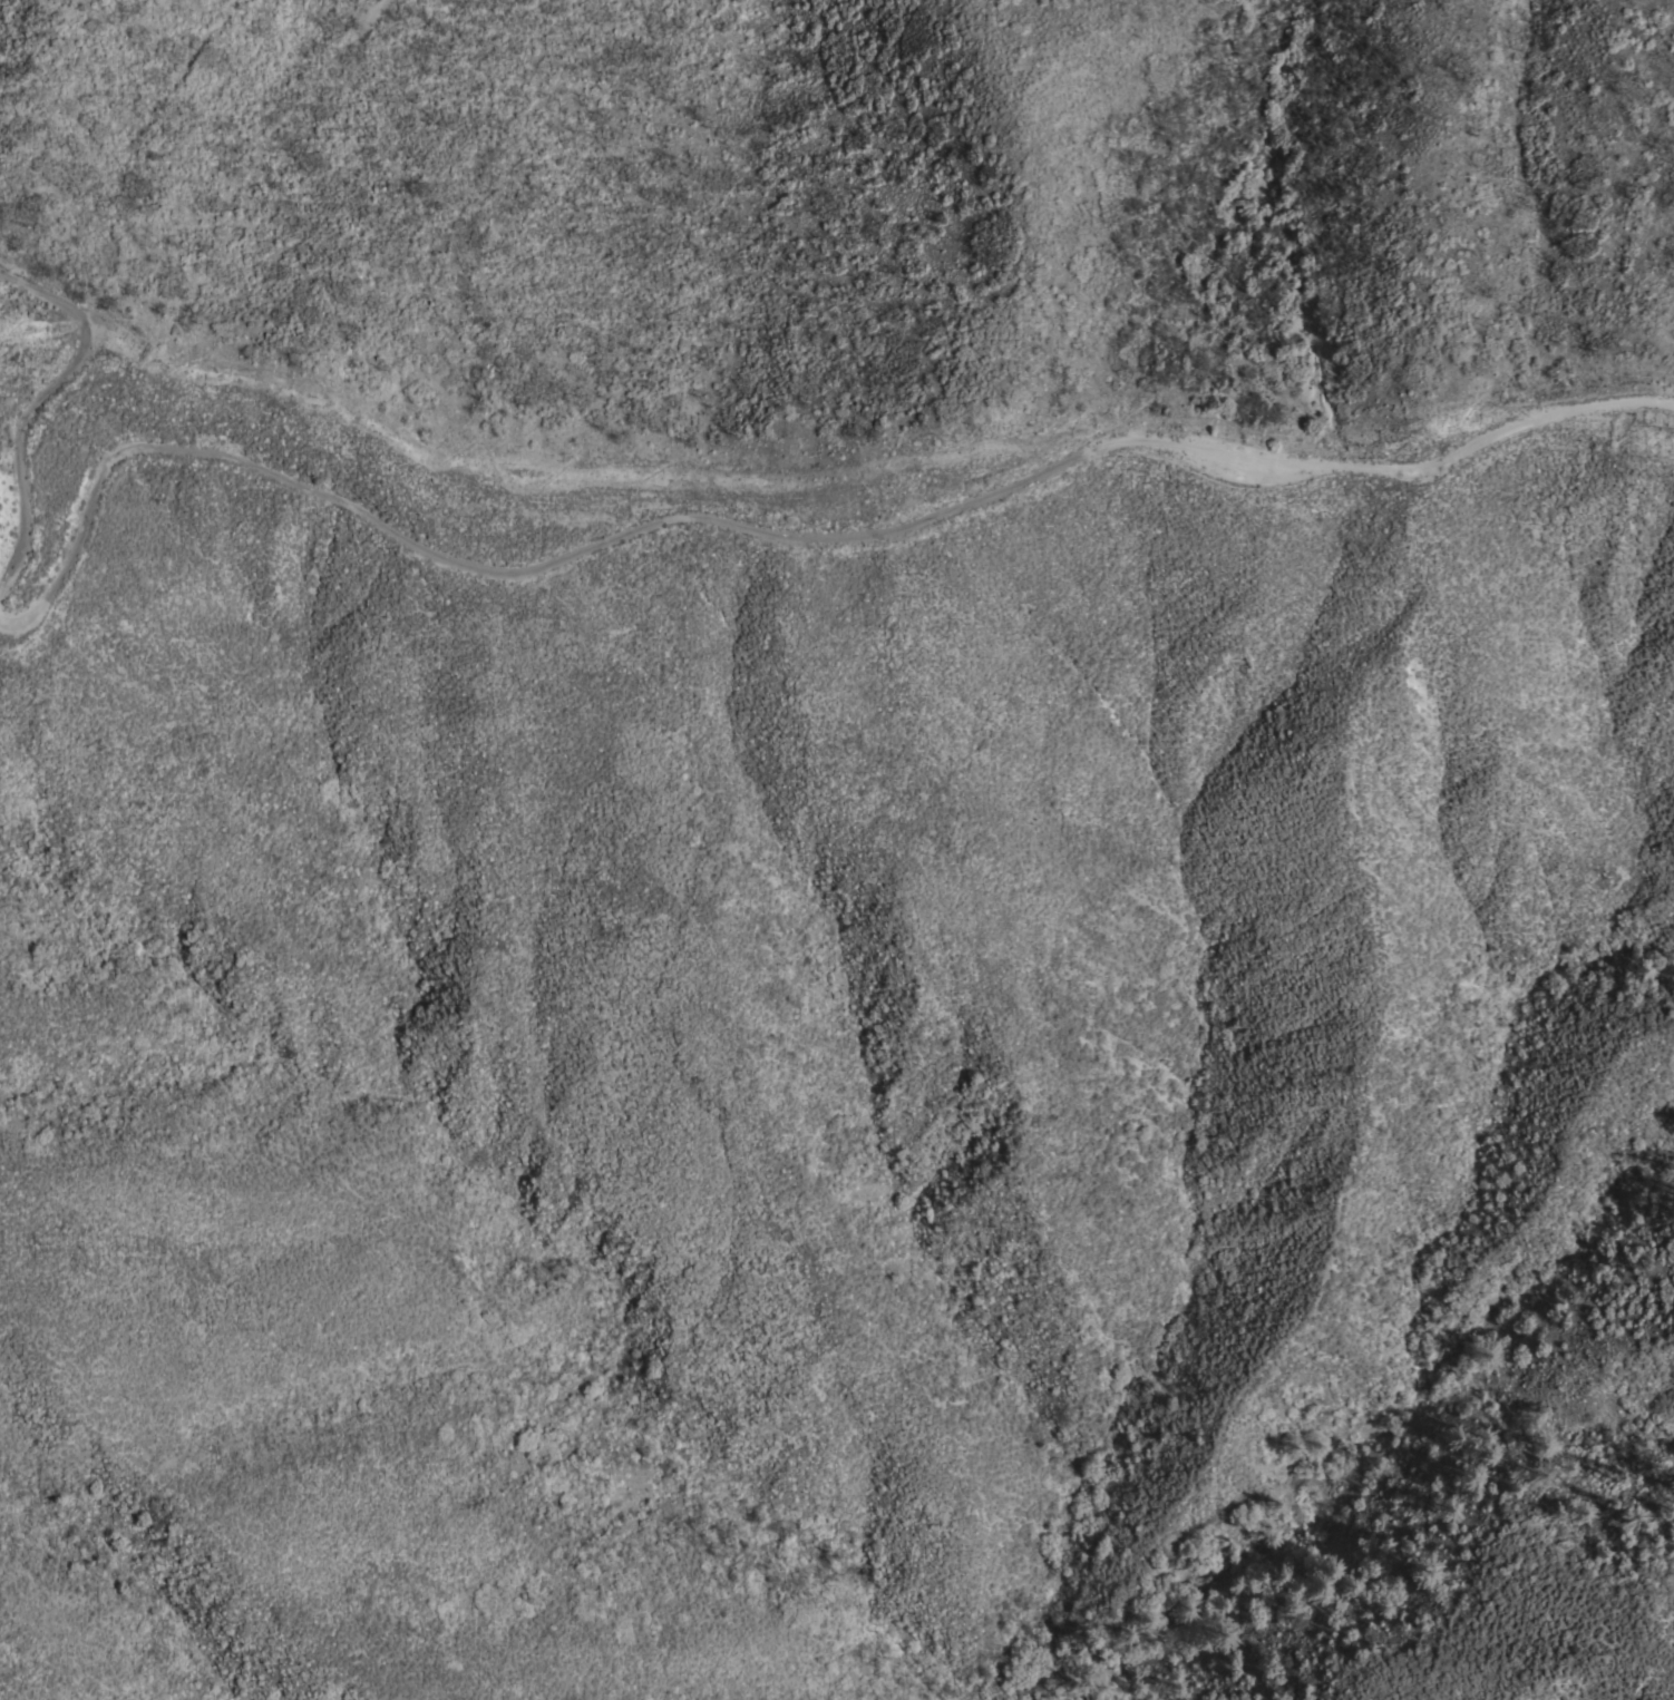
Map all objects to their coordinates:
road: (575, 548)

